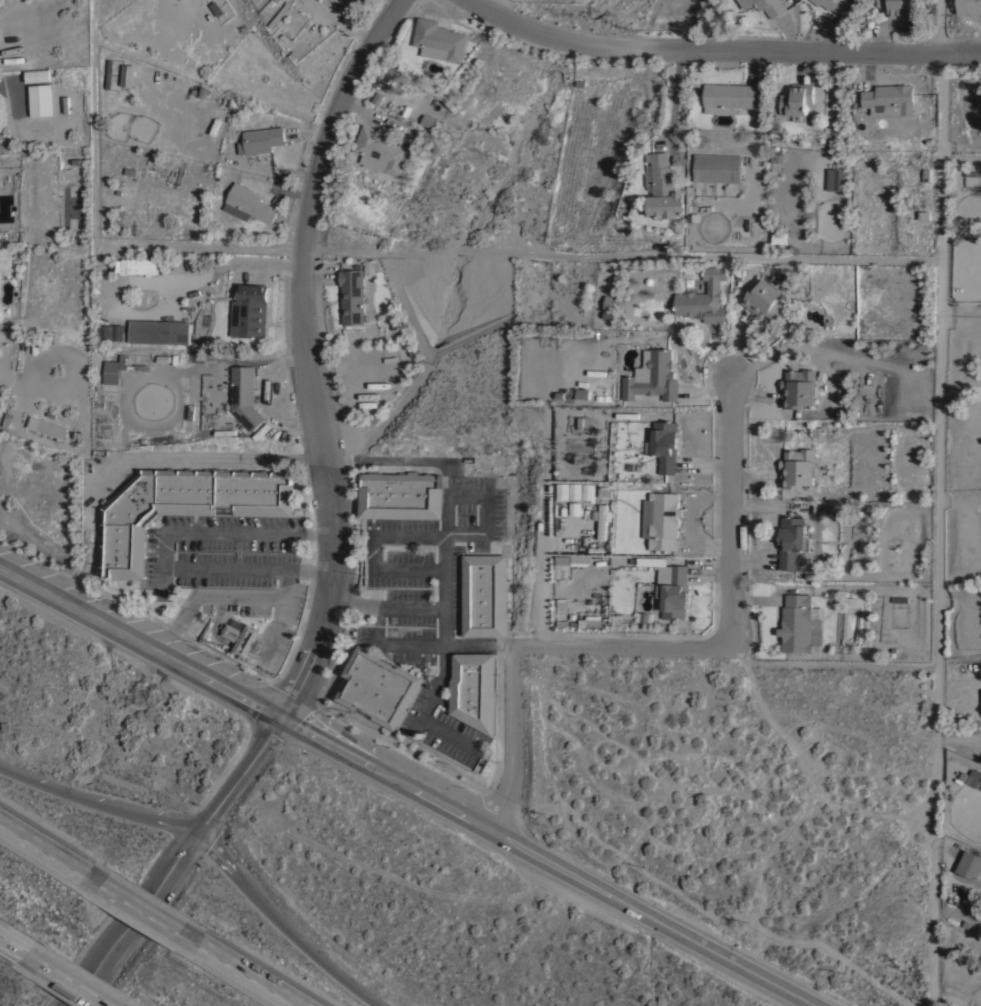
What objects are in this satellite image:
building: (339, 1)
building: (354, 1)
building: (767, 5)
building: (836, 5)
building: (969, 5)
building: (896, 7)
building: (280, 13)
road: (977, 19)
road: (940, 26)
building: (439, 39)
road: (720, 50)
building: (38, 74)
building: (127, 74)
building: (729, 95)
road: (673, 97)
building: (889, 98)
building: (40, 100)
building: (797, 100)
building: (63, 105)
building: (718, 109)
building: (429, 120)
building: (261, 139)
building: (381, 149)
building: (717, 168)
building: (972, 172)
building: (836, 175)
building: (665, 189)
building: (249, 203)
building: (924, 215)
building: (694, 217)
building: (779, 237)
building: (144, 265)
building: (352, 296)
building: (704, 297)
building: (767, 299)
building: (610, 302)
building: (250, 310)
building: (159, 330)
building: (110, 331)
road: (304, 350)
building: (111, 371)
building: (653, 376)
building: (799, 387)
building: (582, 393)
building: (245, 395)
building: (45, 427)
building: (664, 444)
building: (797, 467)
building: (562, 490)
building: (574, 490)
building: (587, 490)
building: (401, 494)
building: (183, 506)
road: (726, 511)
building: (661, 519)
building: (603, 520)
building: (67, 521)
road: (545, 527)
road: (937, 529)
road: (458, 536)
road: (430, 537)
building: (792, 541)
road: (163, 550)
building: (891, 558)
building: (580, 559)
building: (562, 561)
road: (409, 569)
building: (673, 589)
building: (484, 595)
road: (222, 597)
road: (385, 606)
building: (646, 615)
building: (591, 620)
building: (800, 623)
building: (242, 635)
road: (408, 644)
road: (479, 647)
road: (619, 647)
building: (379, 687)
building: (474, 689)
road: (510, 739)
building: (973, 778)
road: (408, 785)
road: (100, 798)
road: (46, 840)
road: (178, 859)
building: (970, 864)
road: (146, 902)
building: (965, 922)
road: (288, 923)
building: (965, 935)
road: (15, 936)
road: (256, 971)
road: (79, 976)

